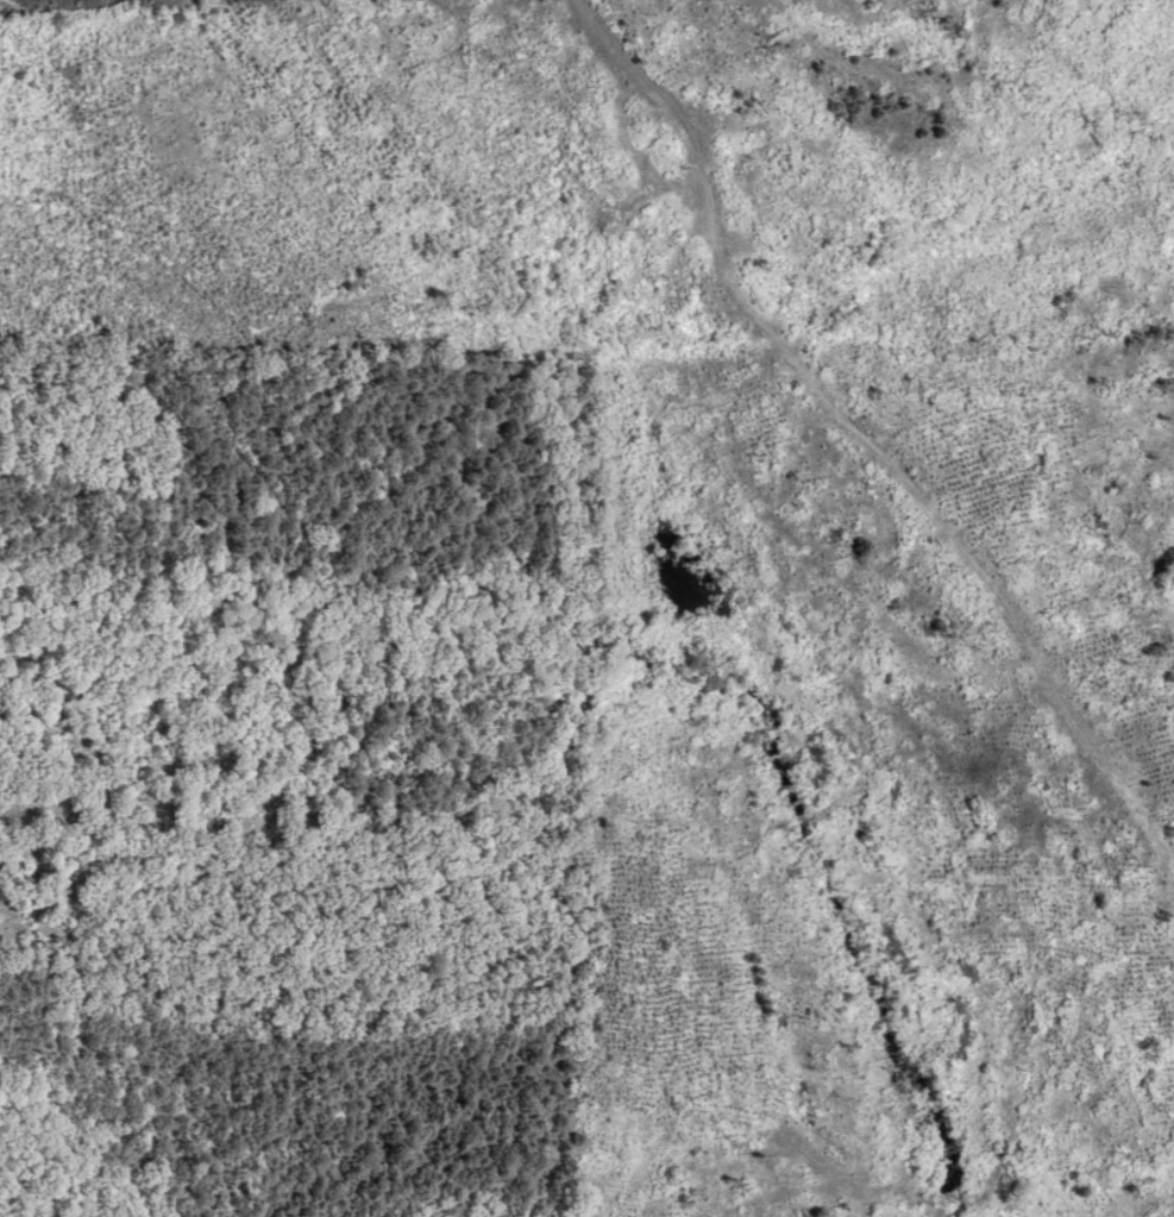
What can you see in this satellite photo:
road: (1134, 1200)

